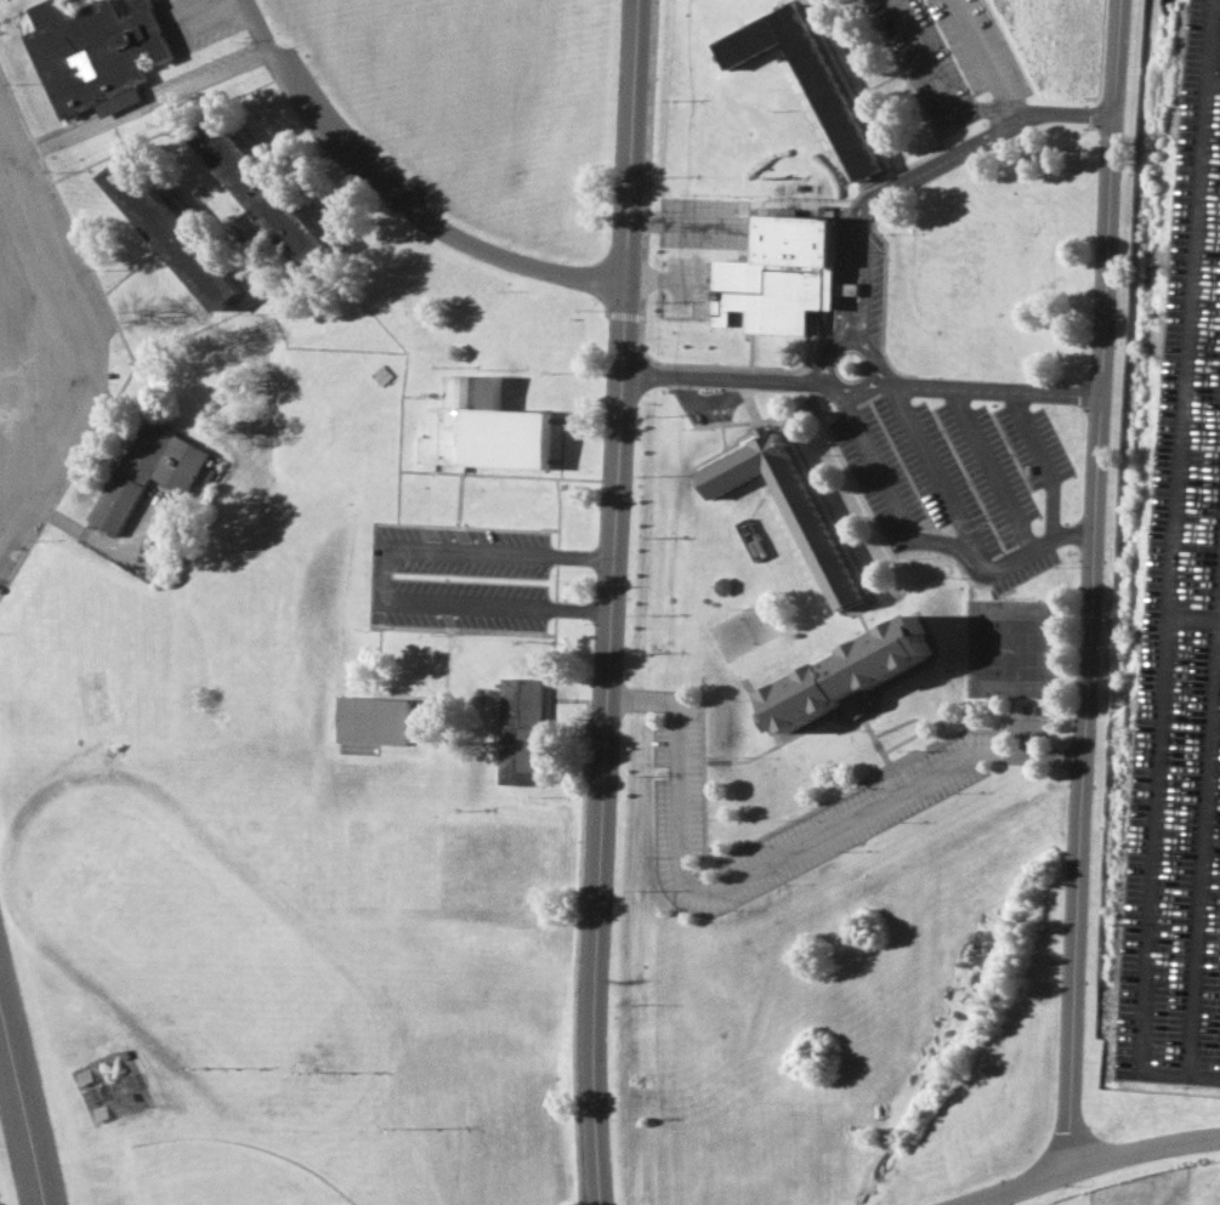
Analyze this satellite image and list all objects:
road: (90, 1)
road: (778, 2)
road: (242, 22)
parking lot: (192, 23)
road: (1004, 46)
road: (981, 47)
building: (90, 53)
building: (804, 75)
road: (1215, 81)
road: (876, 83)
road: (850, 84)
road: (936, 84)
road: (652, 103)
road: (189, 104)
road: (1012, 106)
road: (134, 109)
road: (17, 113)
road: (927, 126)
road: (135, 141)
road: (266, 153)
road: (106, 158)
road: (301, 167)
road: (904, 180)
building: (259, 184)
road: (390, 197)
road: (401, 217)
road: (225, 222)
parking lot: (697, 222)
building: (166, 224)
road: (129, 268)
building: (774, 272)
road: (254, 286)
road: (880, 294)
parking lot: (856, 297)
road: (232, 303)
road: (240, 309)
road: (622, 316)
parking lot: (40, 342)
road: (694, 364)
building: (380, 373)
road: (125, 374)
road: (402, 376)
road: (859, 381)
road: (422, 396)
road: (806, 396)
road: (748, 404)
road: (821, 411)
road: (720, 420)
building: (484, 428)
road: (719, 436)
road: (558, 442)
road: (1040, 459)
road: (554, 460)
road: (802, 465)
road: (839, 465)
road: (988, 466)
building: (144, 471)
road: (496, 474)
road: (936, 474)
road: (1031, 489)
road: (458, 499)
road: (556, 502)
building: (784, 505)
building: (176, 524)
road: (472, 525)
road: (952, 532)
road: (918, 541)
road: (104, 545)
road: (1004, 551)
road: (943, 556)
road: (382, 572)
road: (1171, 572)
parking lot: (432, 581)
road: (554, 581)
road: (608, 581)
road: (1091, 584)
road: (914, 606)
park: (739, 627)
road: (459, 630)
parking lot: (1175, 637)
park: (1006, 647)
road: (374, 660)
building: (844, 670)
road: (755, 710)
building: (370, 718)
road: (917, 721)
building: (518, 729)
road: (547, 734)
road: (789, 734)
road: (699, 765)
road: (862, 779)
parking lot: (889, 796)
road: (764, 863)
road: (577, 892)
park: (198, 956)
road: (21, 1115)
road: (1085, 1163)
park: (221, 1176)
park: (4, 1184)
road: (595, 1184)

